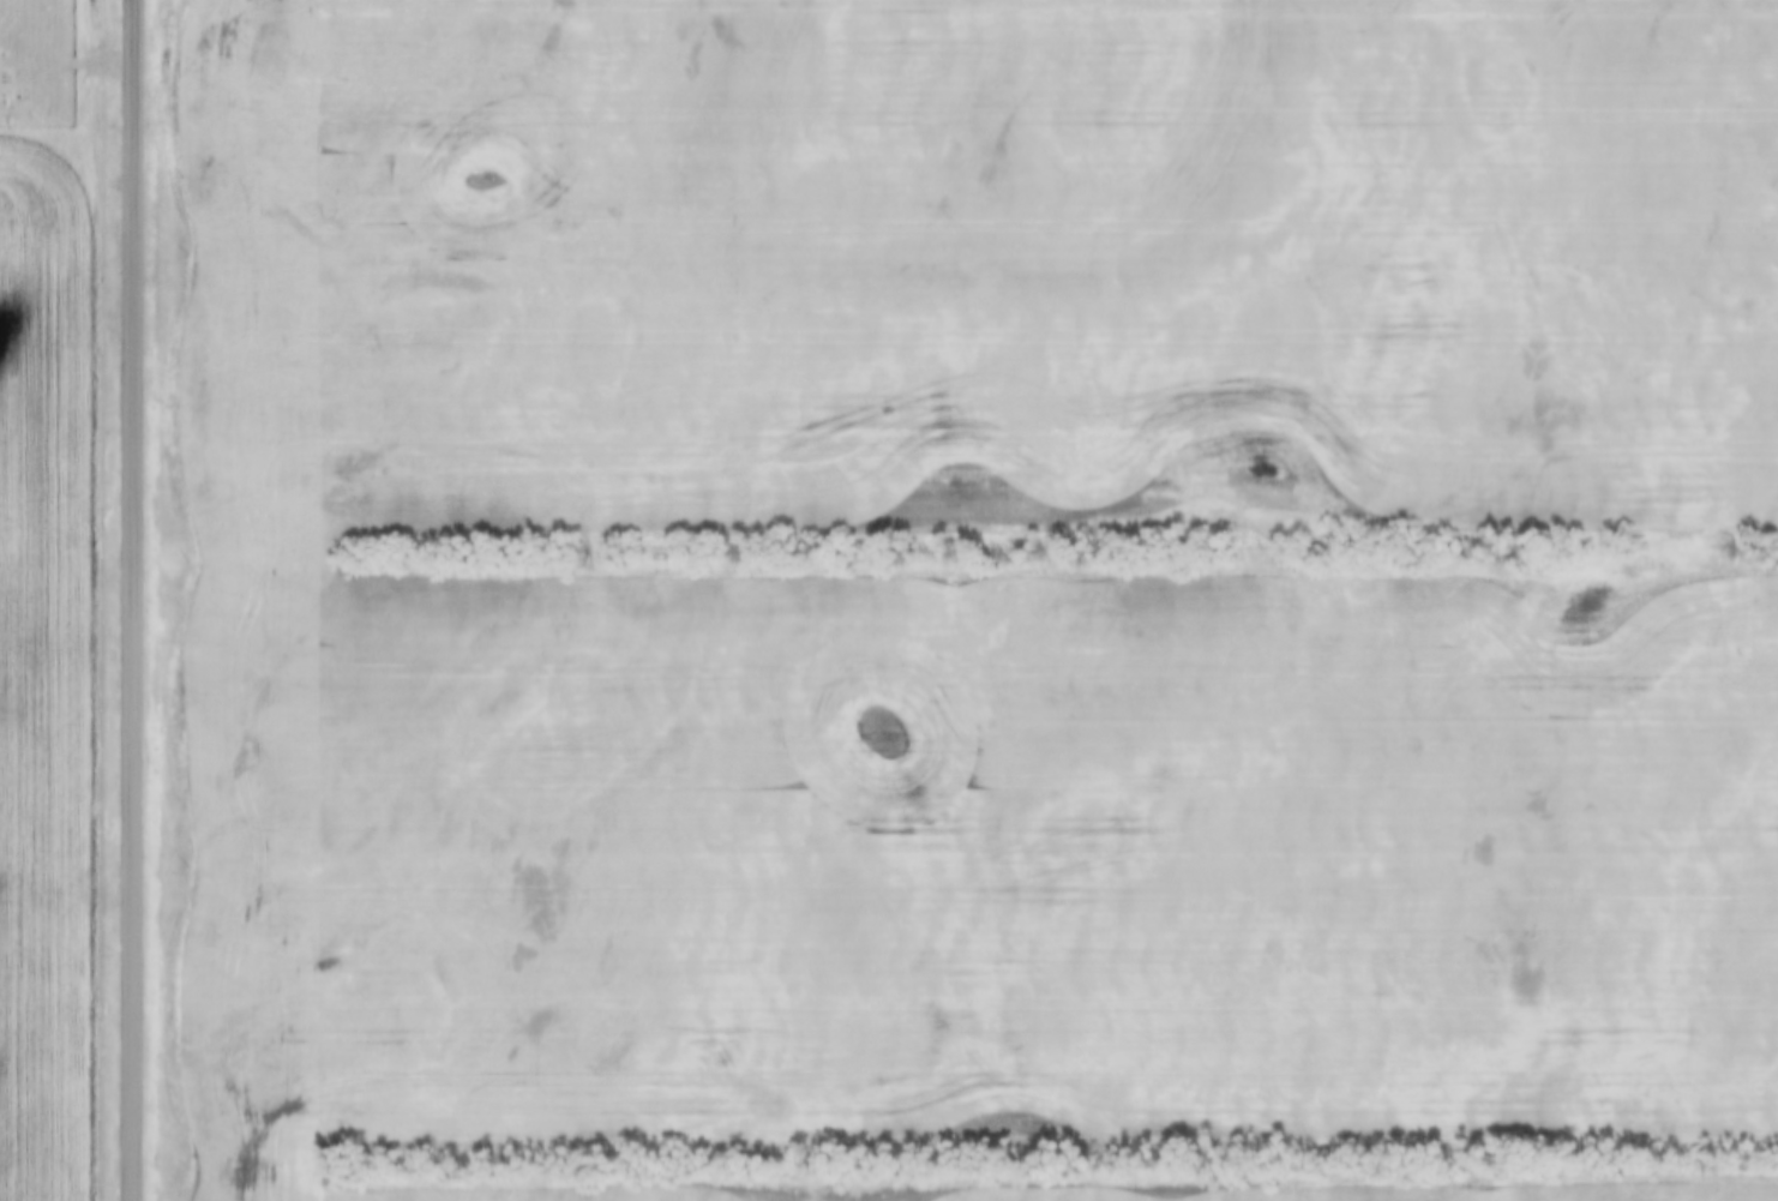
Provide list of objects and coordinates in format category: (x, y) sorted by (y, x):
park: (35, 62)
road: (137, 600)

